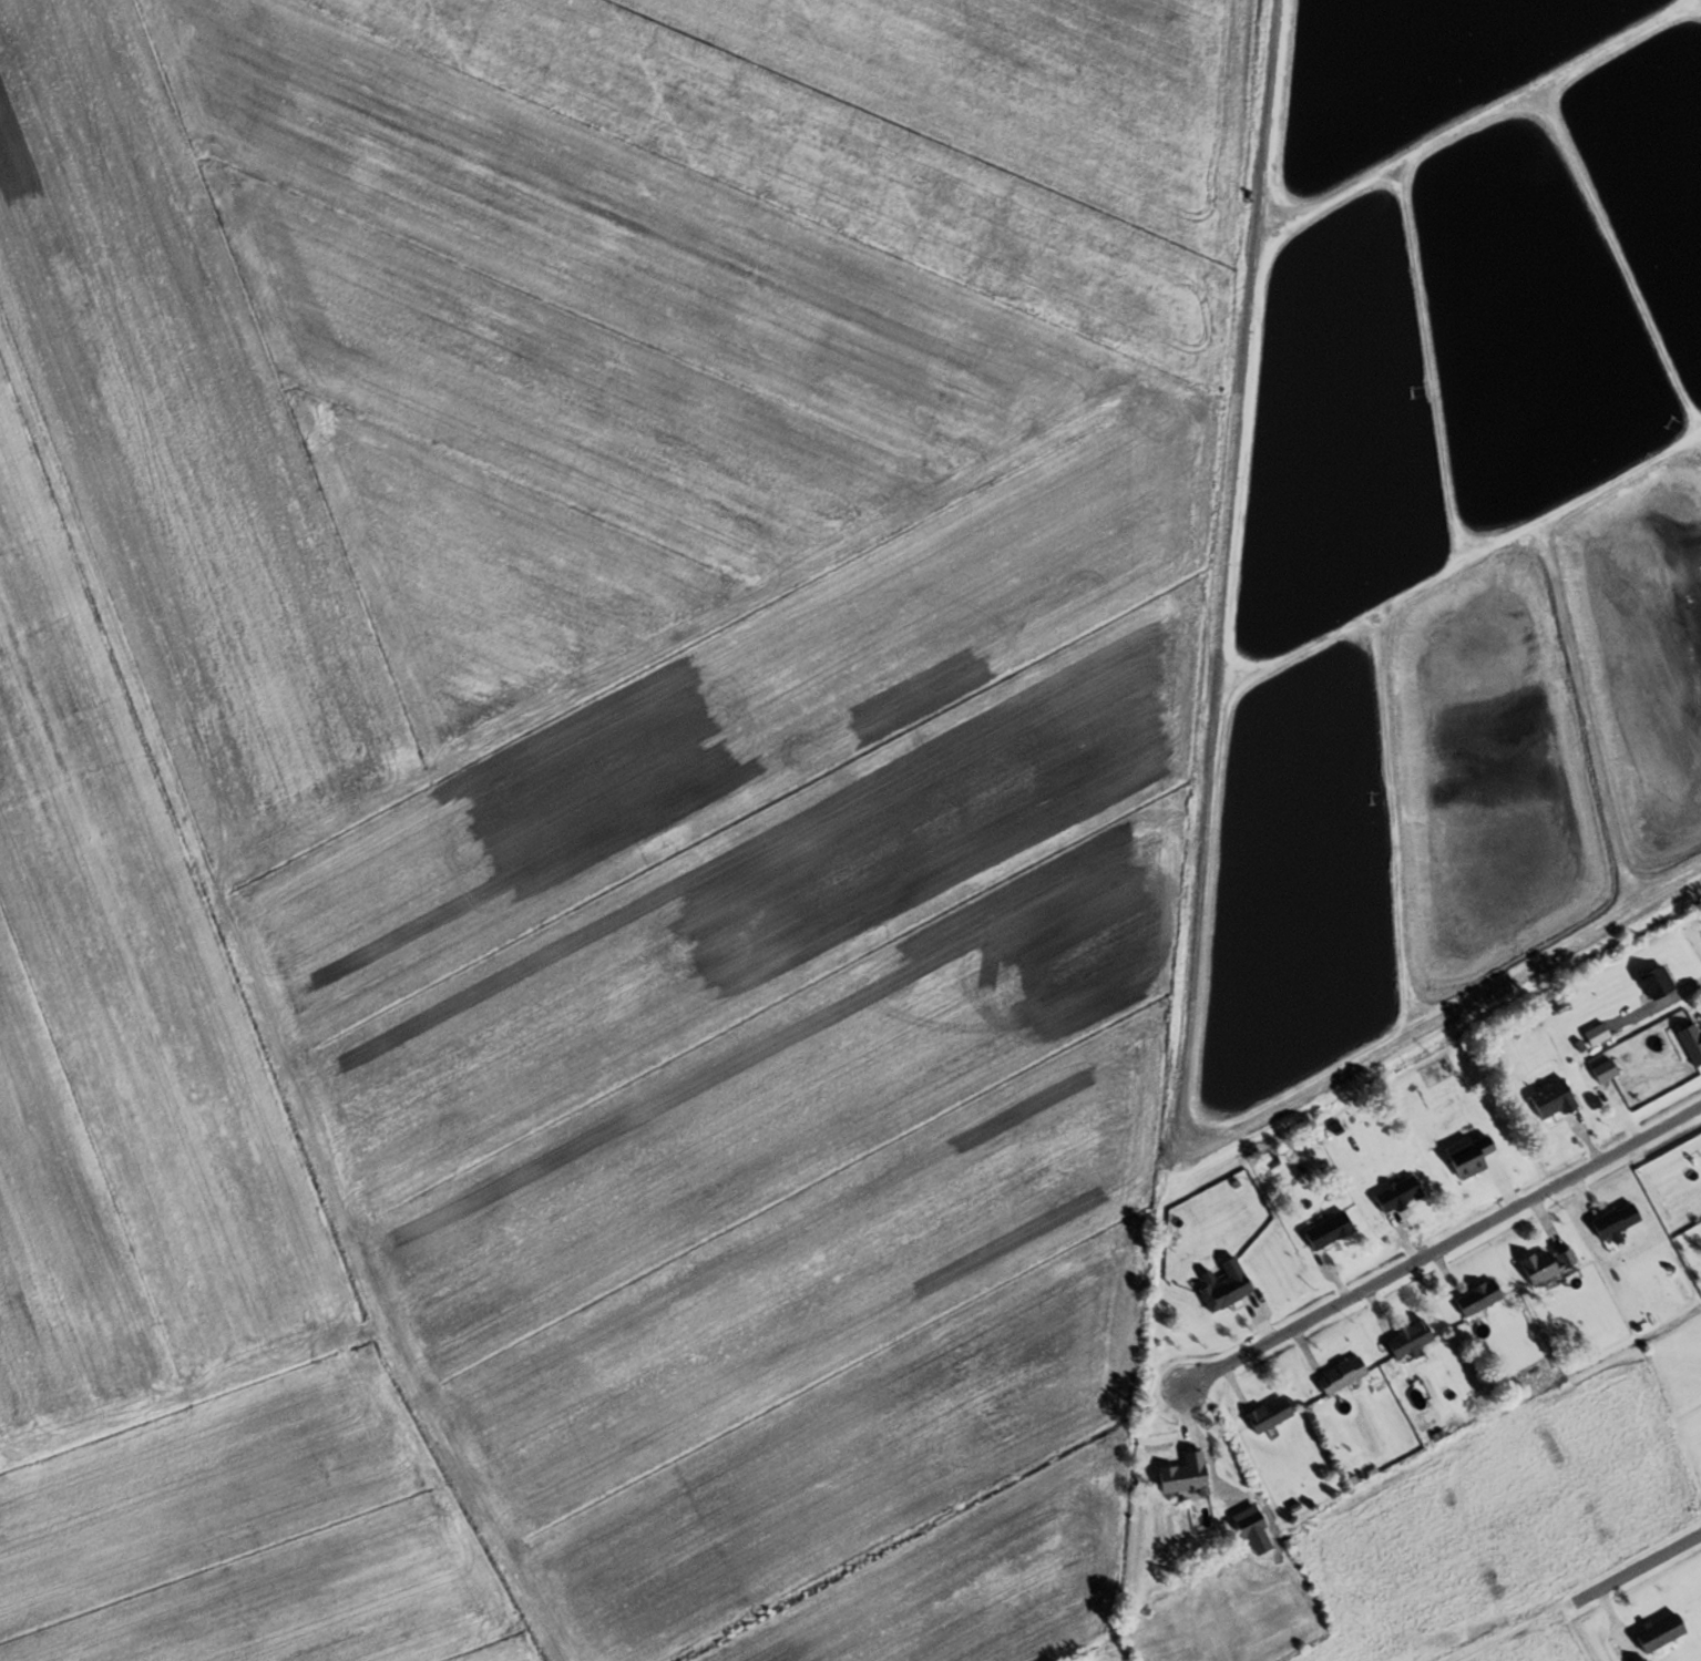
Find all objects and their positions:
building: (1659, 983)
road: (1693, 984)
road: (1698, 1015)
building: (1693, 1042)
building: (1441, 1074)
building: (1554, 1100)
road: (1587, 1140)
building: (1472, 1156)
road: (1505, 1188)
building: (1400, 1195)
road: (1584, 1196)
road: (1544, 1220)
building: (1618, 1221)
building: (1331, 1230)
road: (1406, 1241)
road: (1443, 1248)
building: (1549, 1265)
road: (1445, 1273)
road: (1334, 1278)
building: (1229, 1286)
building: (1480, 1299)
road: (1376, 1311)
road: (1260, 1321)
building: (1411, 1340)
road: (1307, 1351)
building: (1344, 1376)
road: (1233, 1386)
building: (1271, 1415)
building: (1188, 1476)
building: (1250, 1521)
road: (1605, 1586)
building: (1662, 1633)

